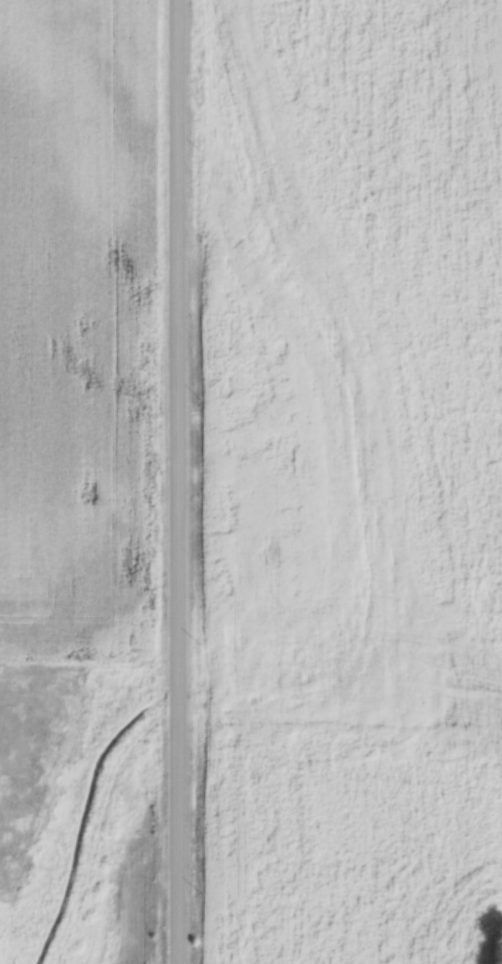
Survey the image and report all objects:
road: (177, 482)

